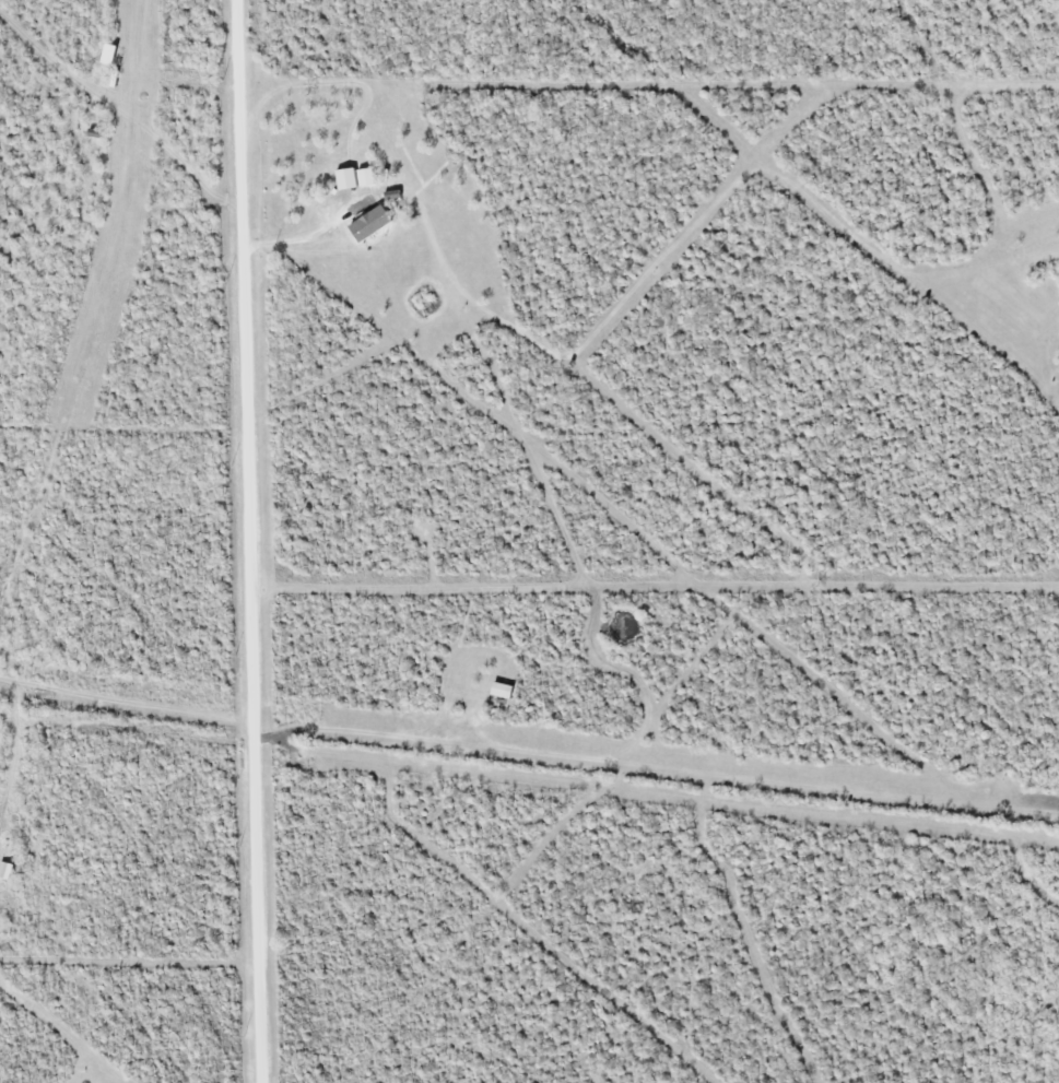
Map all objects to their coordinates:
building: (4, 869)

